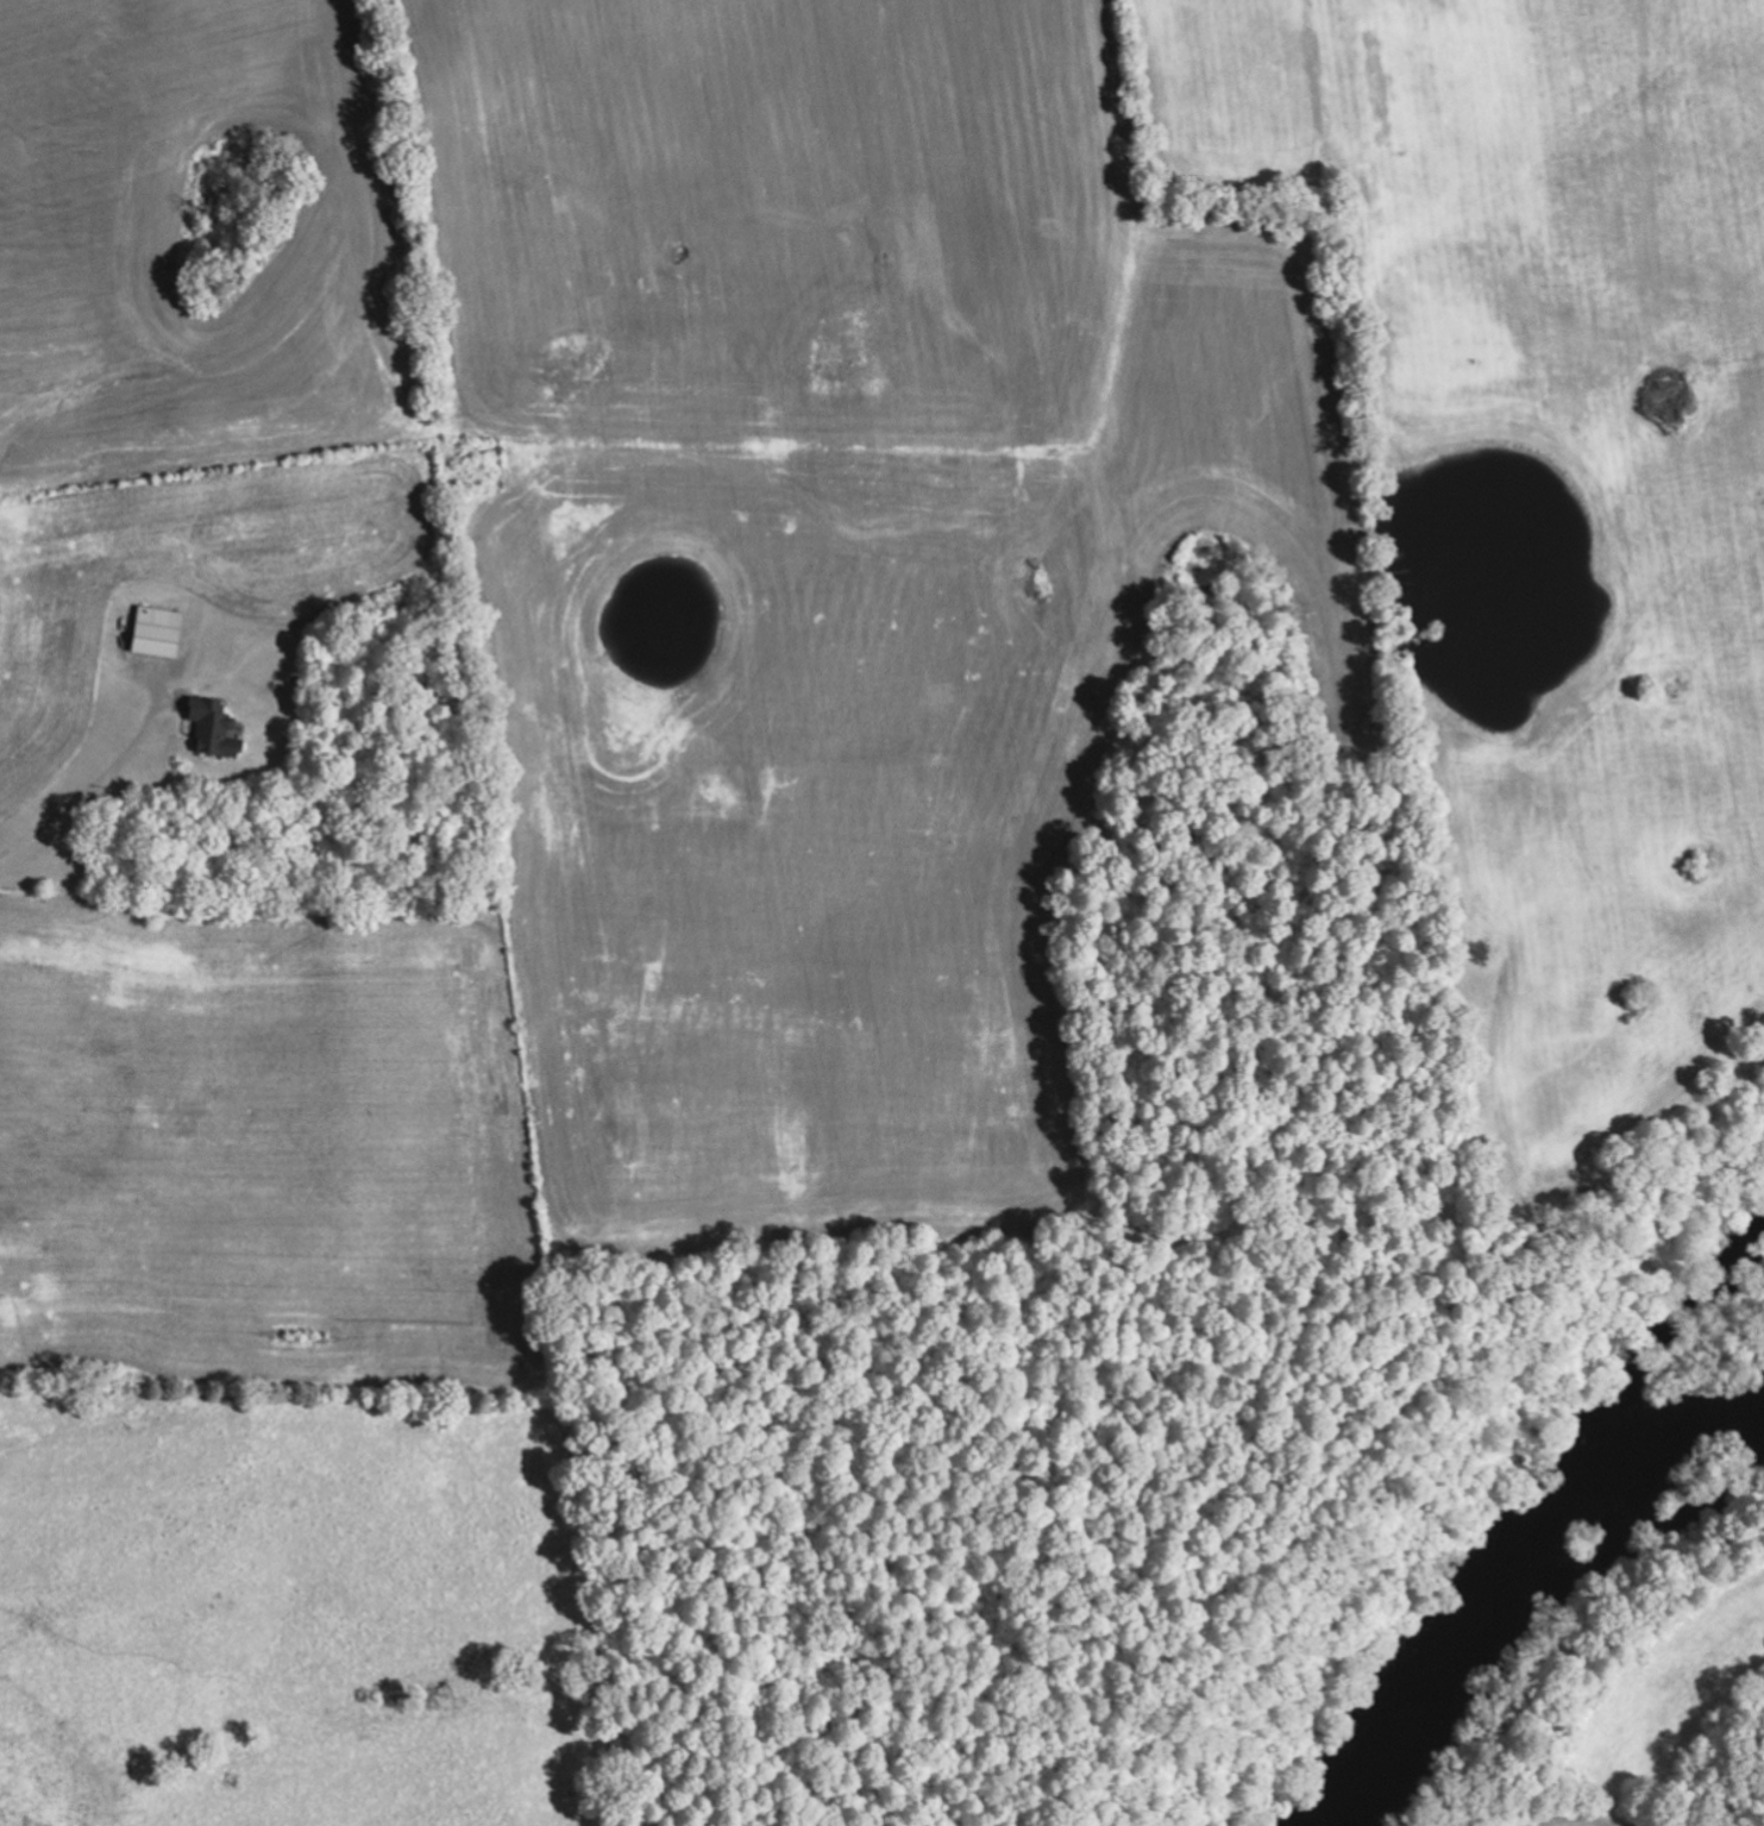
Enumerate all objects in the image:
building: (161, 630)
road: (88, 787)
river: (1505, 1569)

